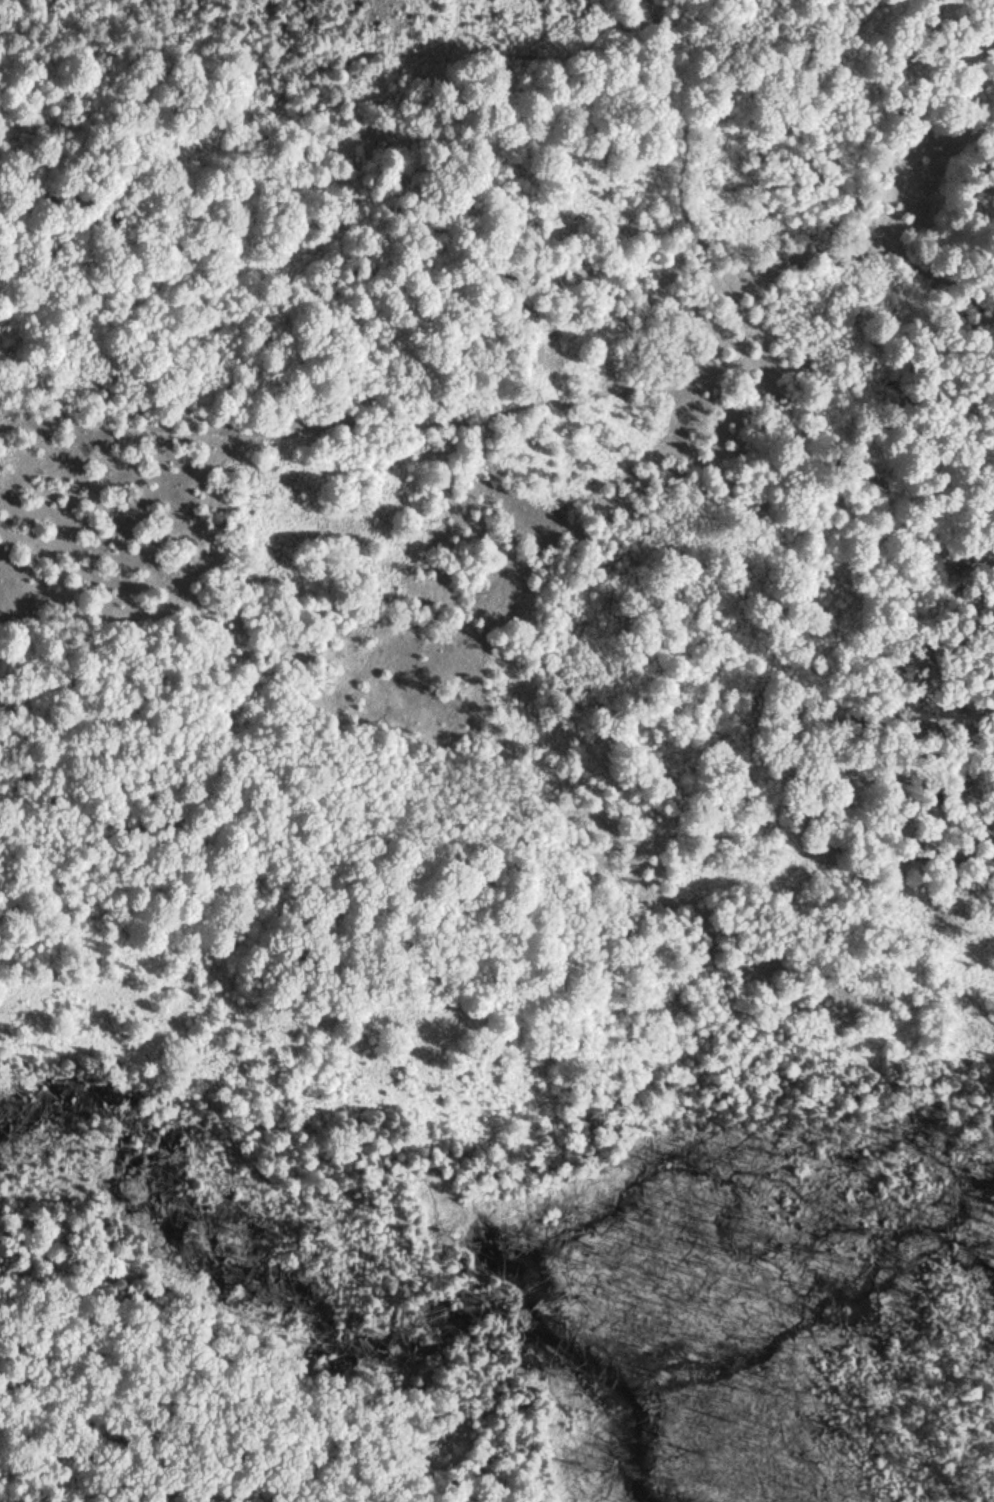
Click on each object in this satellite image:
river: (379, 1270)

